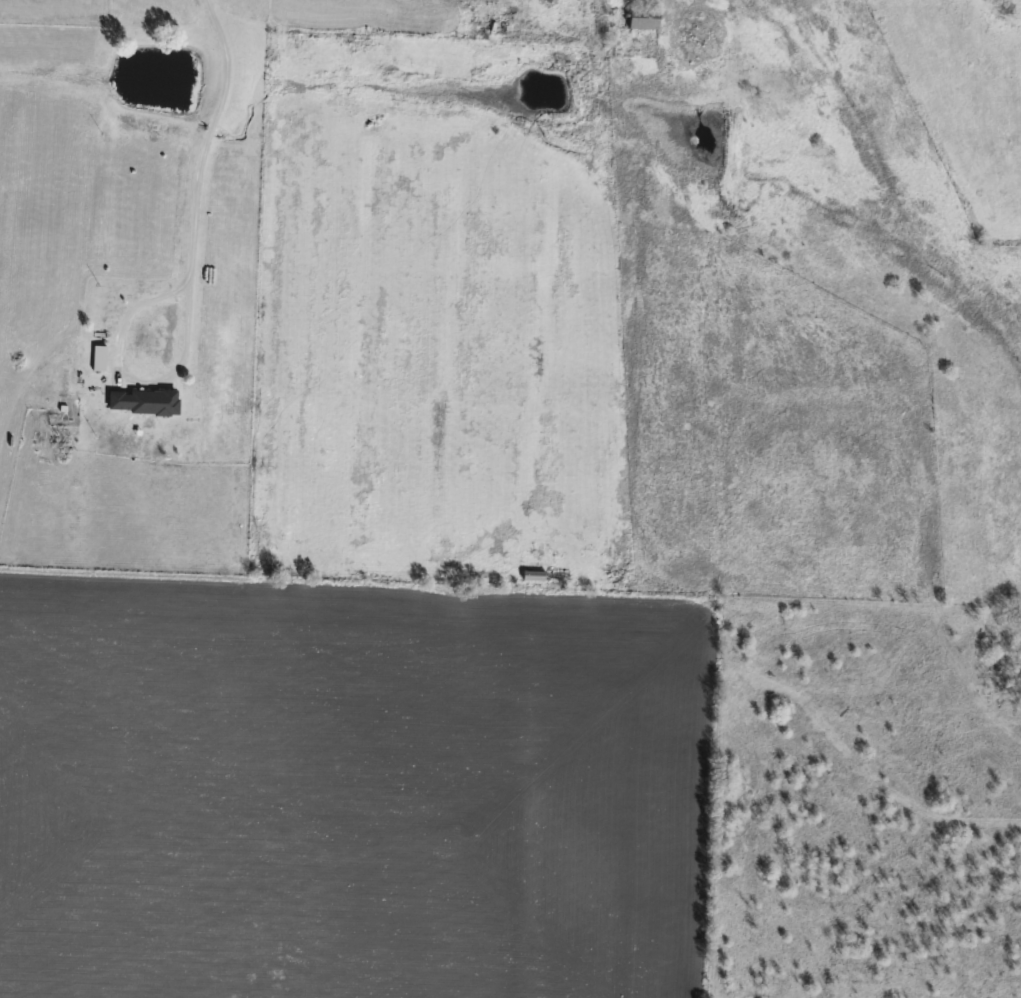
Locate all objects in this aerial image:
building: (643, 19)
road: (207, 138)
road: (134, 374)
building: (142, 401)

